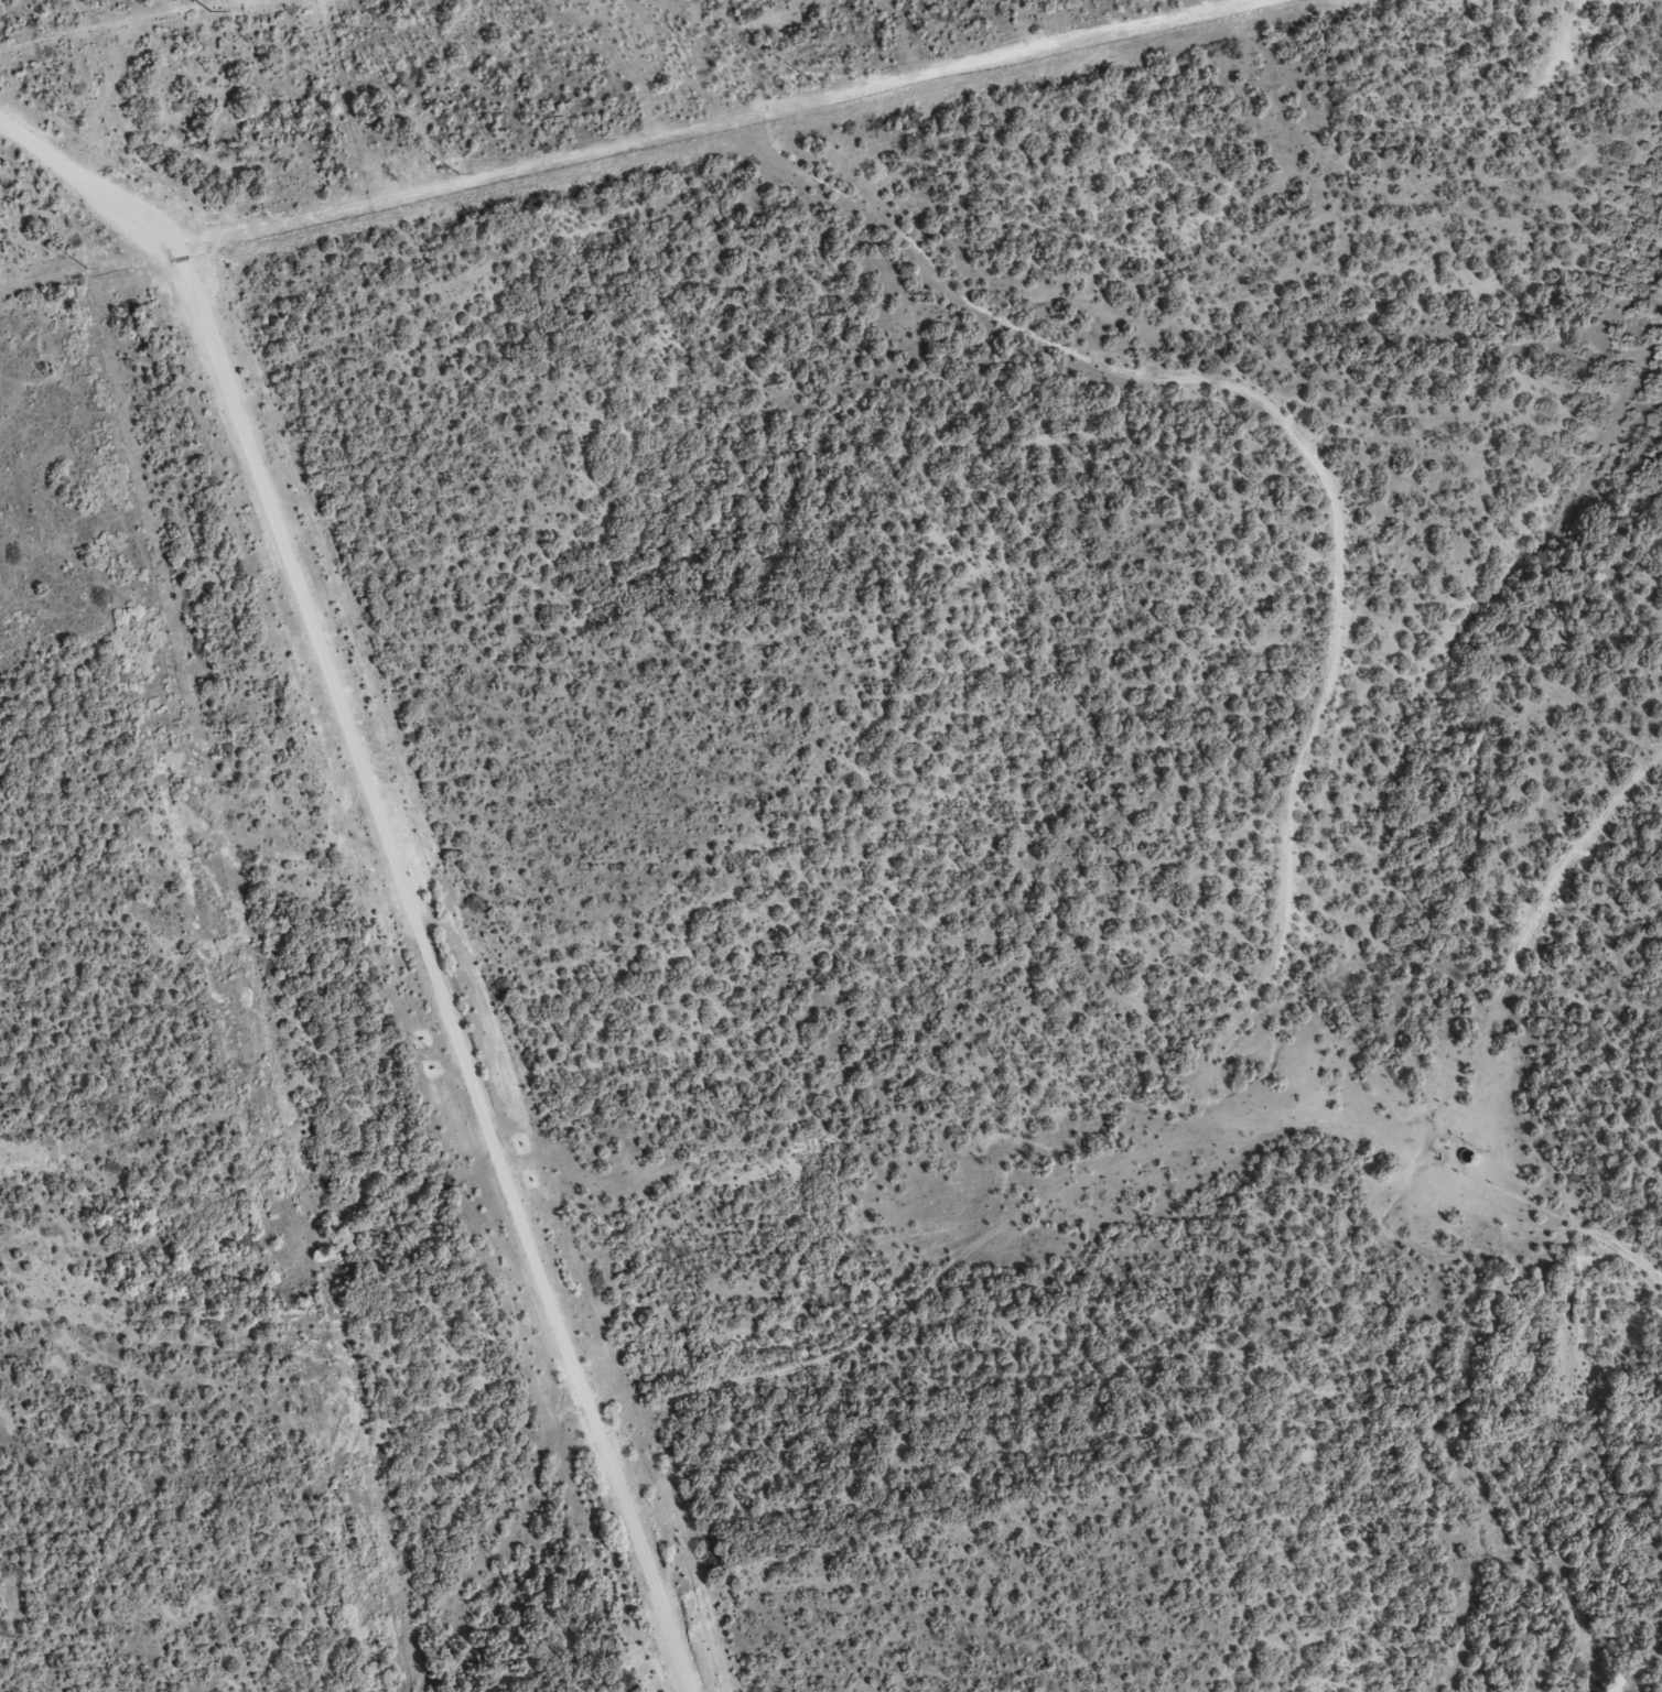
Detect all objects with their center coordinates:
power tower: (208, 12)
power tower: (811, 75)
power tower: (456, 170)
power tower: (84, 268)

